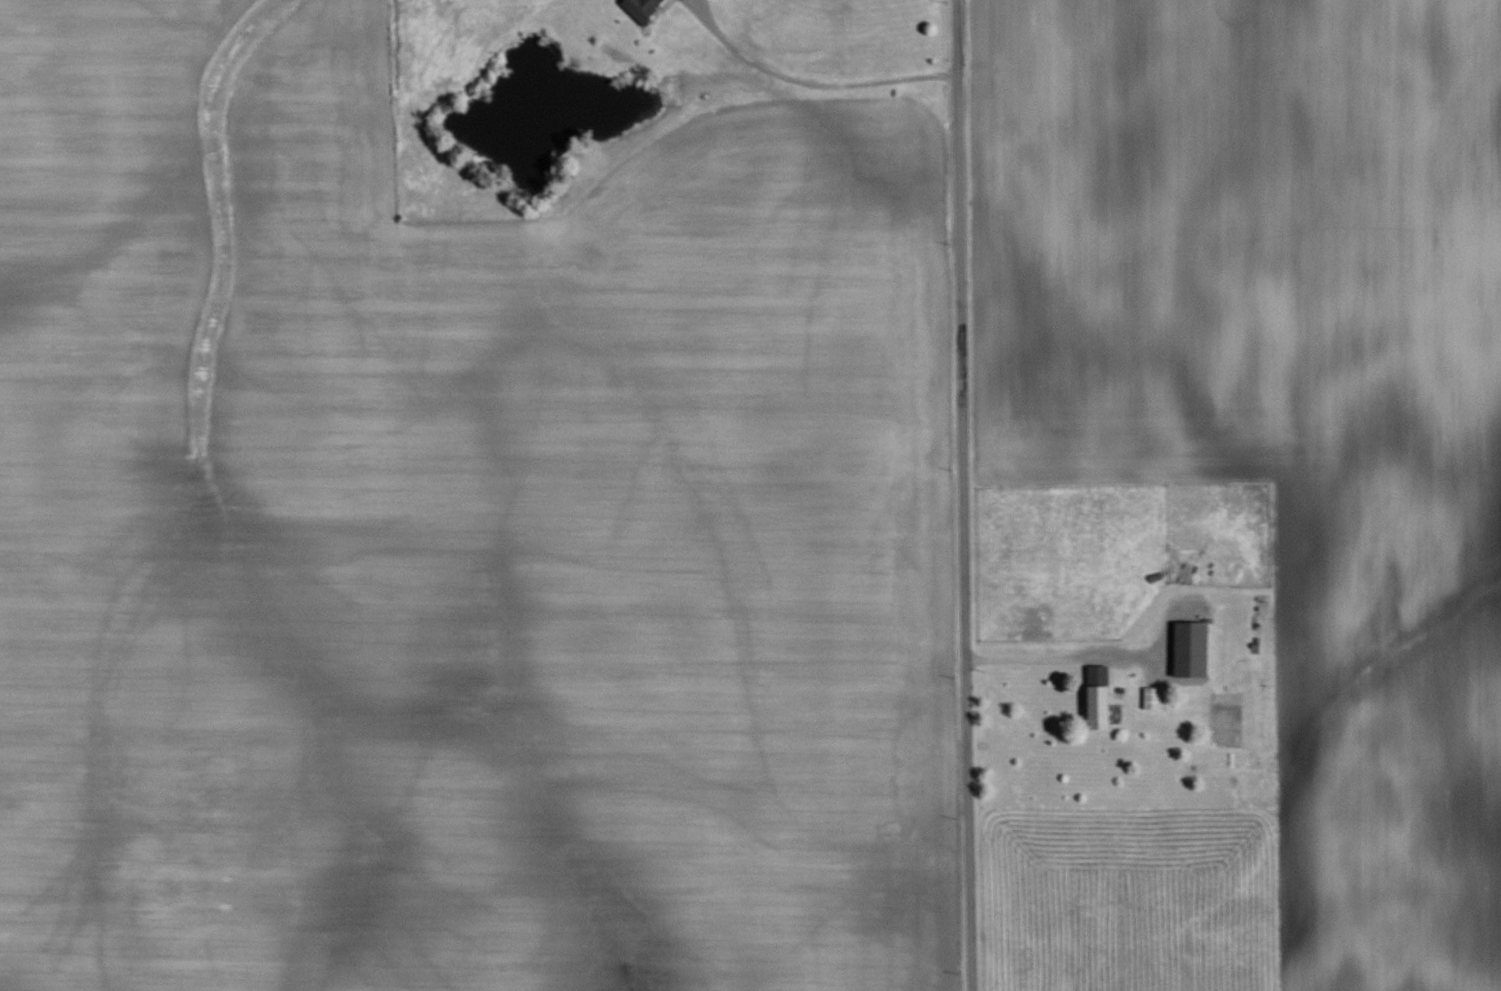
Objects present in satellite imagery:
building: (640, 7)
road: (809, 77)
road: (964, 495)
building: (1190, 648)
road: (1060, 651)
building: (1155, 696)
building: (1097, 705)

